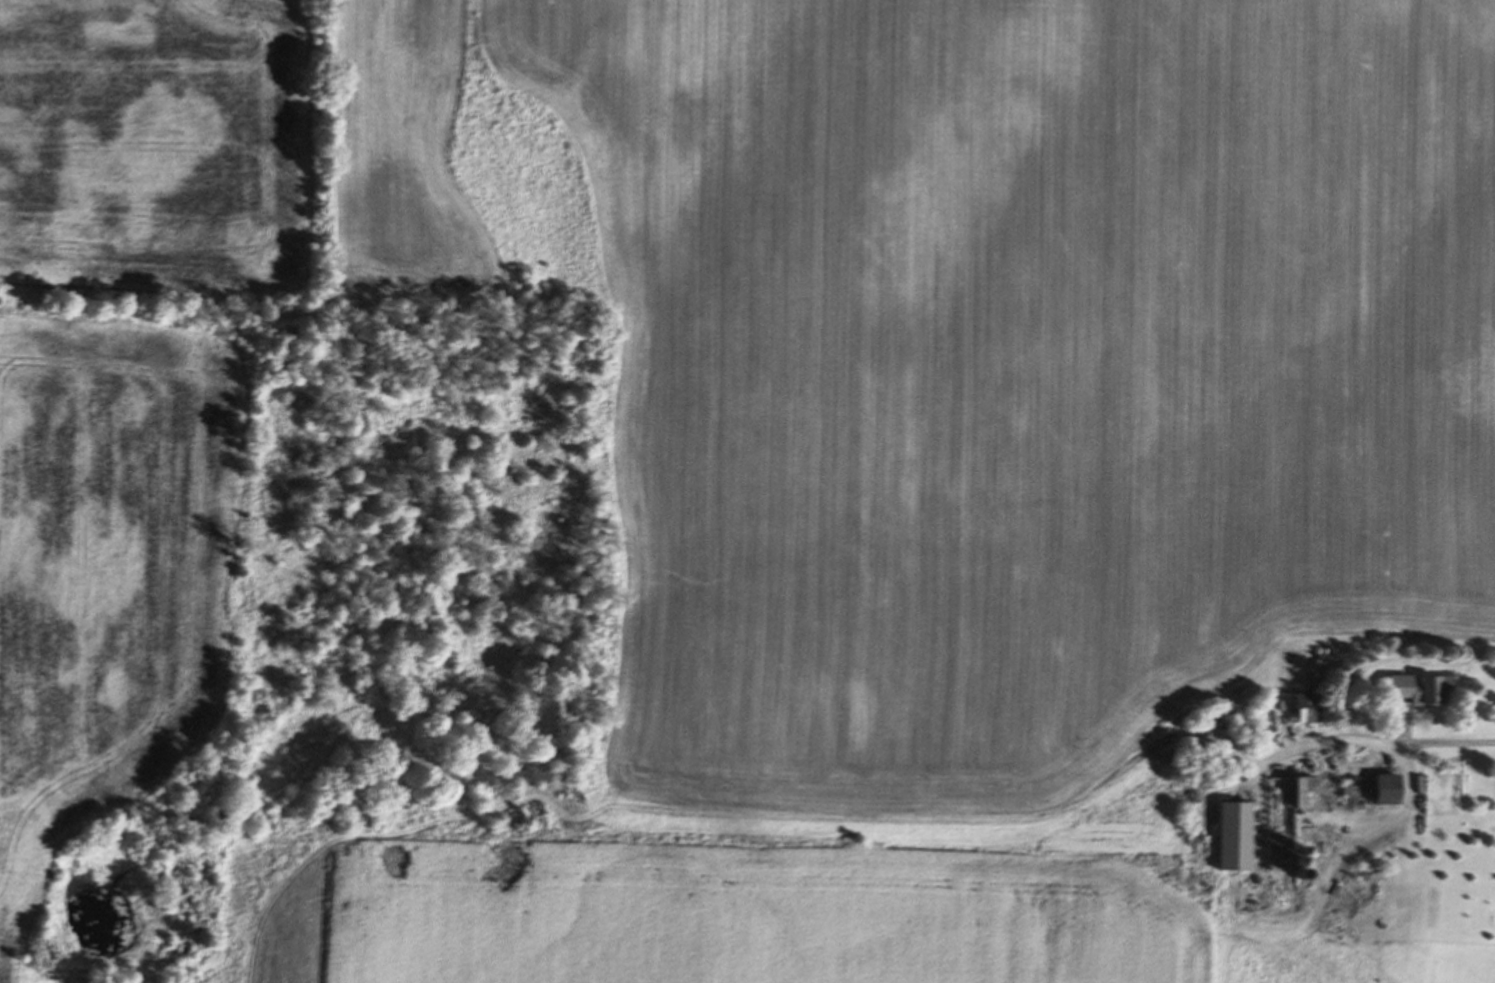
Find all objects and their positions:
building: (1430, 692)
building: (1311, 709)
road: (1372, 740)
building: (1394, 790)
building: (1238, 837)

